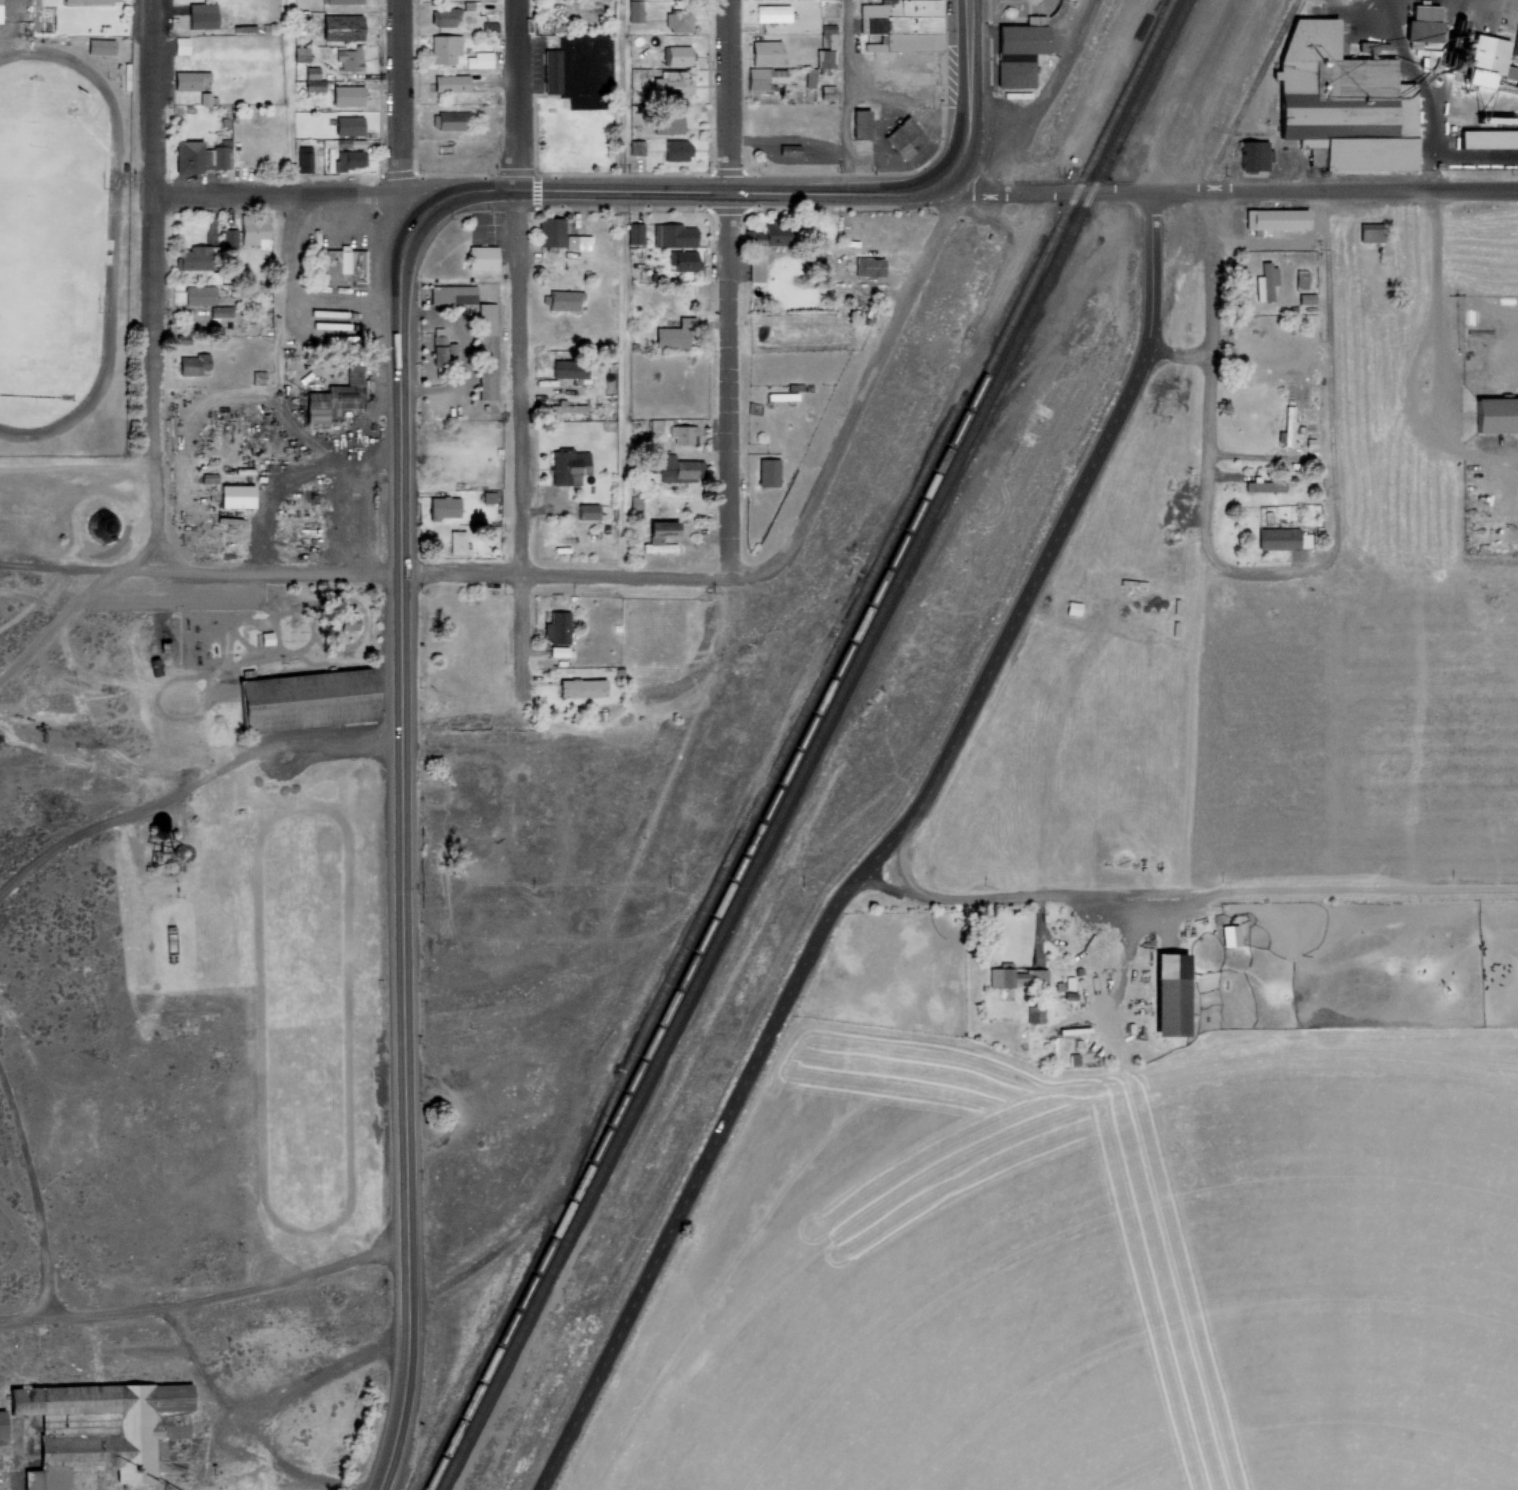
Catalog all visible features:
building: (486, 0)
building: (86, 1)
building: (343, 1)
flagpole: (1033, 1)
building: (633, 10)
building: (0, 11)
building: (772, 12)
park: (1030, 13)
building: (201, 15)
building: (445, 16)
building: (679, 20)
building: (1037, 24)
building: (903, 25)
building: (488, 26)
building: (341, 28)
building: (1430, 35)
building: (827, 41)
building: (179, 45)
building: (101, 46)
building: (443, 48)
building: (766, 52)
building: (299, 54)
building: (677, 55)
building: (1016, 57)
building: (349, 59)
building: (477, 59)
building: (825, 59)
building: (1493, 60)
building: (550, 70)
building: (122, 76)
building: (189, 79)
building: (808, 79)
building: (764, 80)
building: (449, 82)
building: (667, 83)
building: (313, 84)
building: (825, 91)
building: (347, 96)
building: (204, 98)
road: (842, 99)
road: (1052, 99)
building: (1348, 107)
building: (188, 108)
road: (970, 118)
building: (452, 120)
building: (348, 125)
building: (670, 125)
building: (864, 128)
building: (903, 137)
road: (395, 141)
building: (1490, 145)
building: (635, 146)
building: (675, 149)
building: (793, 154)
building: (907, 155)
building: (188, 156)
building: (219, 157)
building: (349, 158)
building: (303, 161)
road: (310, 187)
road: (1210, 192)
road: (683, 195)
building: (1280, 219)
building: (254, 229)
building: (1371, 231)
building: (551, 232)
building: (633, 232)
building: (672, 233)
building: (778, 233)
building: (228, 237)
park: (48, 238)
building: (578, 241)
building: (482, 256)
building: (194, 257)
building: (685, 261)
building: (754, 262)
building: (343, 264)
building: (865, 264)
road: (1150, 270)
building: (1300, 278)
building: (1268, 282)
road: (155, 286)
road: (623, 288)
road: (728, 290)
building: (451, 293)
building: (200, 294)
building: (562, 298)
building: (712, 303)
building: (220, 310)
building: (685, 320)
building: (670, 337)
building: (184, 341)
building: (486, 350)
building: (438, 352)
road: (517, 362)
building: (195, 366)
building: (568, 367)
building: (353, 369)
building: (257, 376)
road: (877, 385)
building: (781, 396)
building: (329, 402)
building: (565, 410)
building: (1497, 421)
building: (1290, 429)
building: (684, 433)
building: (445, 446)
building: (568, 464)
building: (684, 467)
building: (767, 472)
building: (1261, 488)
building: (489, 496)
building: (239, 498)
building: (444, 505)
building: (587, 510)
building: (664, 528)
building: (458, 541)
building: (1279, 544)
building: (657, 547)
road: (201, 572)
road: (596, 577)
road: (1199, 605)
building: (1074, 609)
building: (556, 626)
building: (614, 627)
building: (561, 651)
building: (616, 674)
building: (582, 686)
building: (306, 699)
road: (403, 712)
railway: (811, 744)
railway: (795, 745)
building: (482, 775)
road: (189, 782)
building: (446, 804)
building: (487, 827)
building: (521, 827)
road: (1185, 897)
road: (831, 911)
building: (1232, 936)
building: (1018, 978)
building: (1173, 994)
building: (1037, 1015)
road: (35, 1195)
road: (206, 1302)
road: (410, 1375)
building: (2, 1424)
building: (103, 1429)

